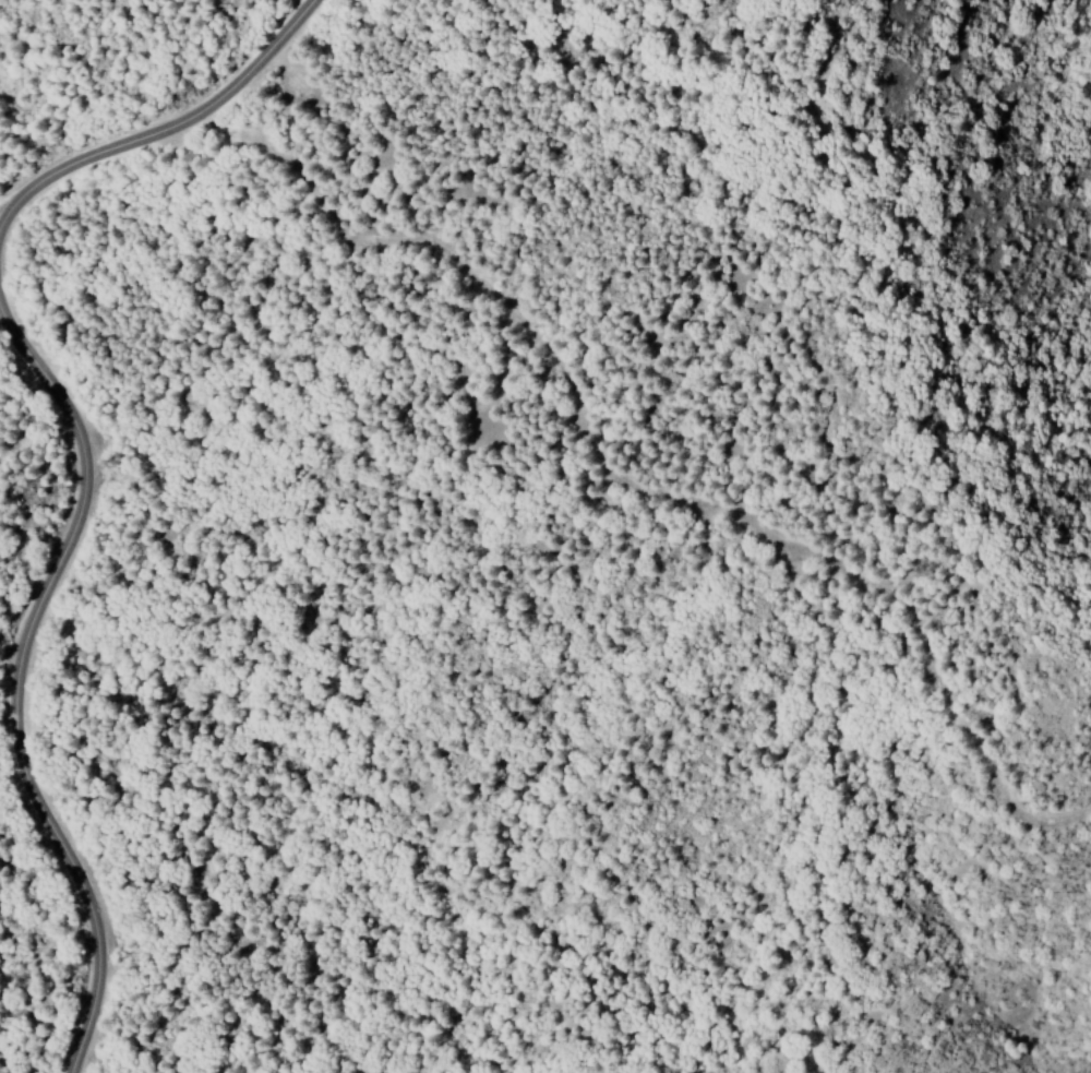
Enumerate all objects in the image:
road: (168, 131)
road: (13, 684)
road: (7, 699)

